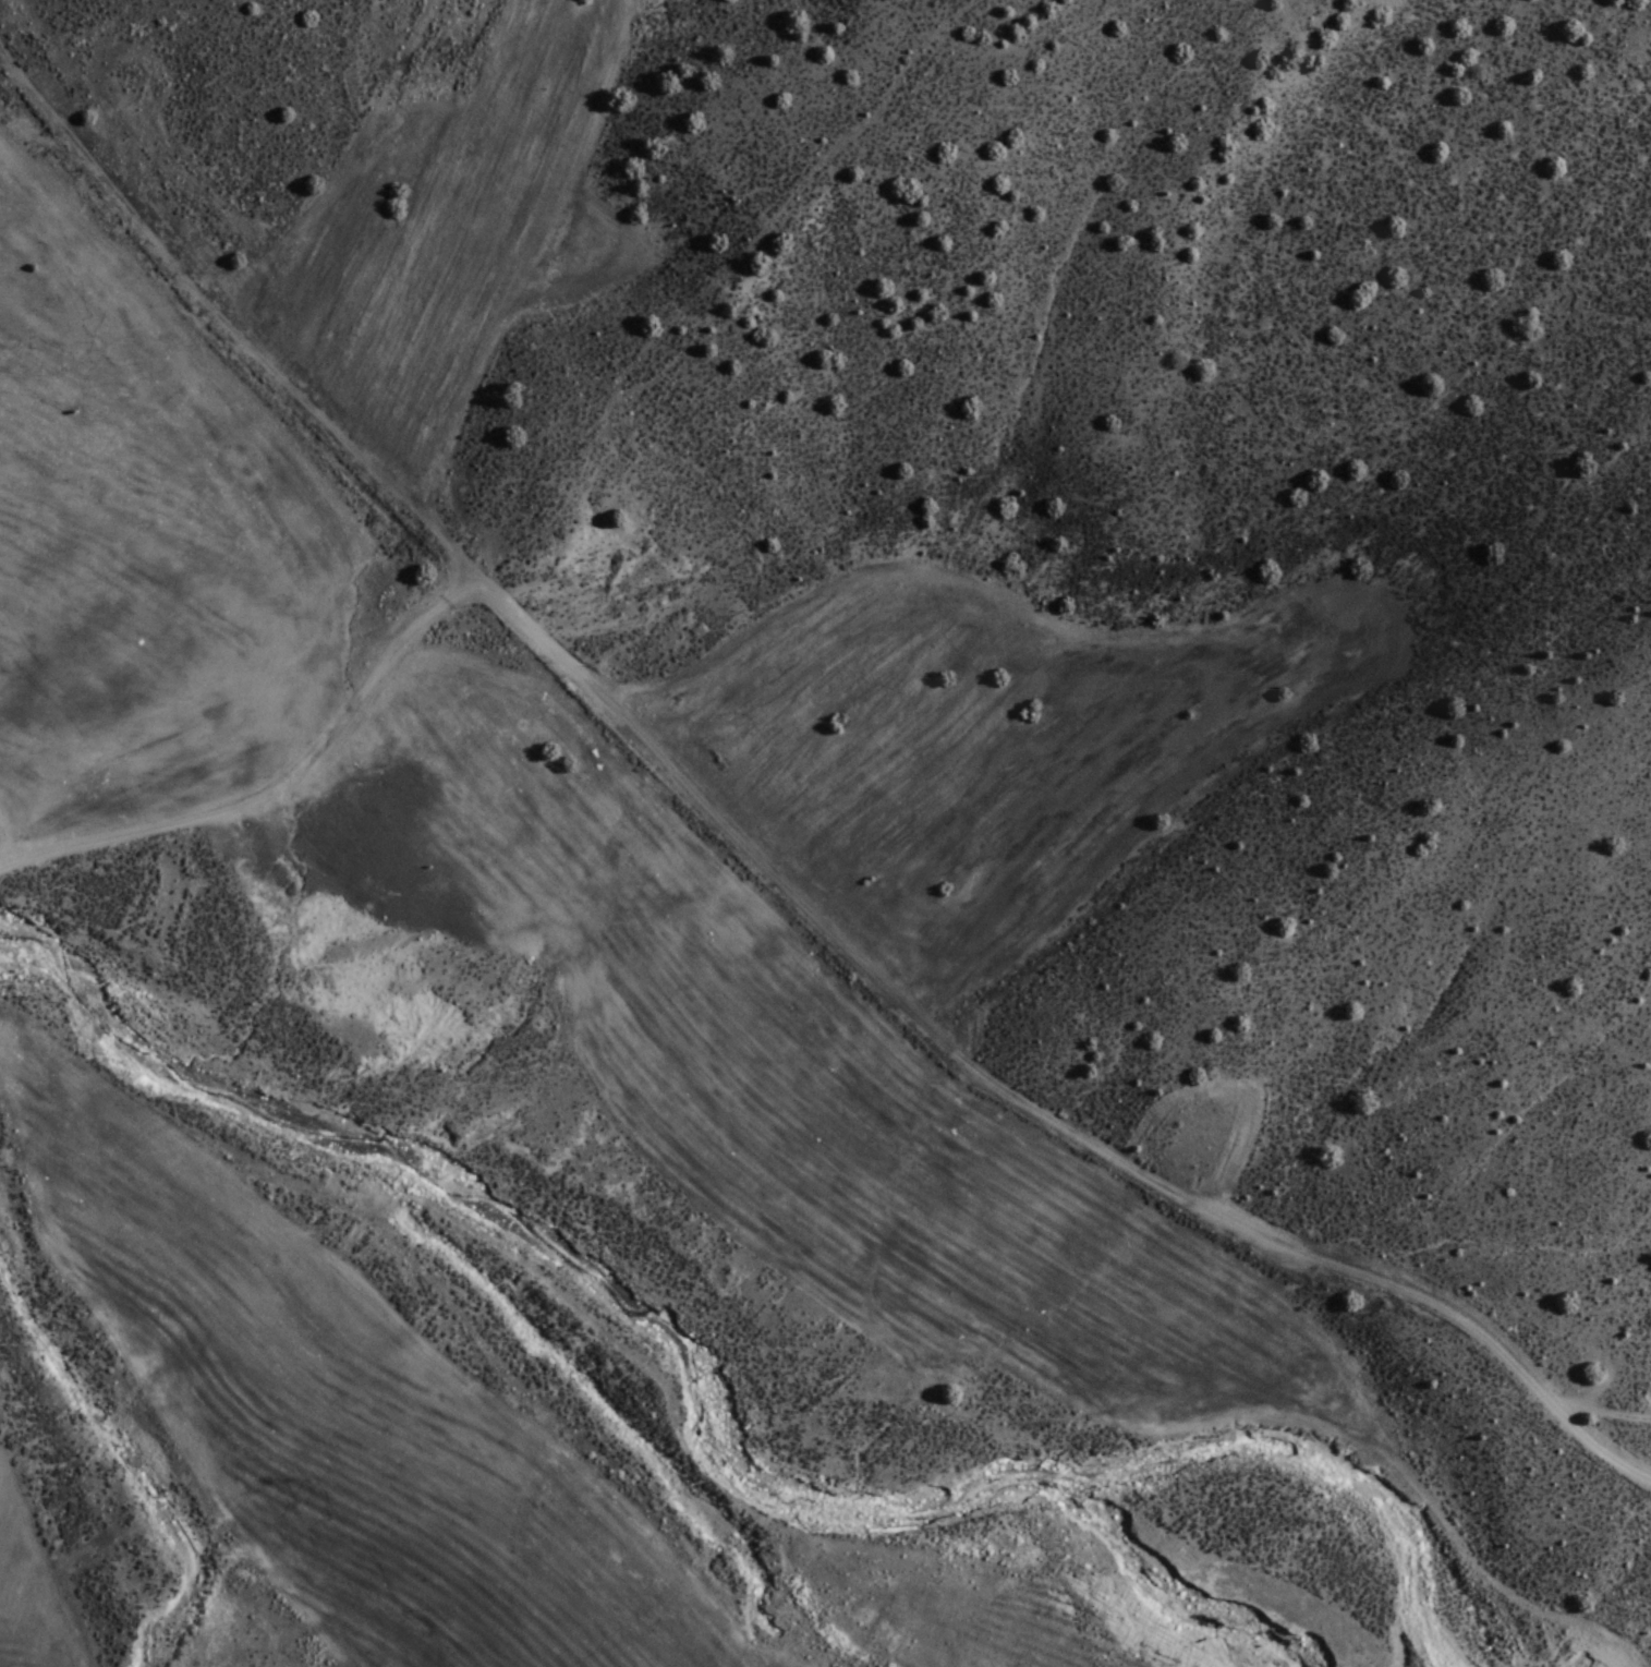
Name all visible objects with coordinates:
road: (287, 790)
road: (743, 825)
road: (46, 1550)

